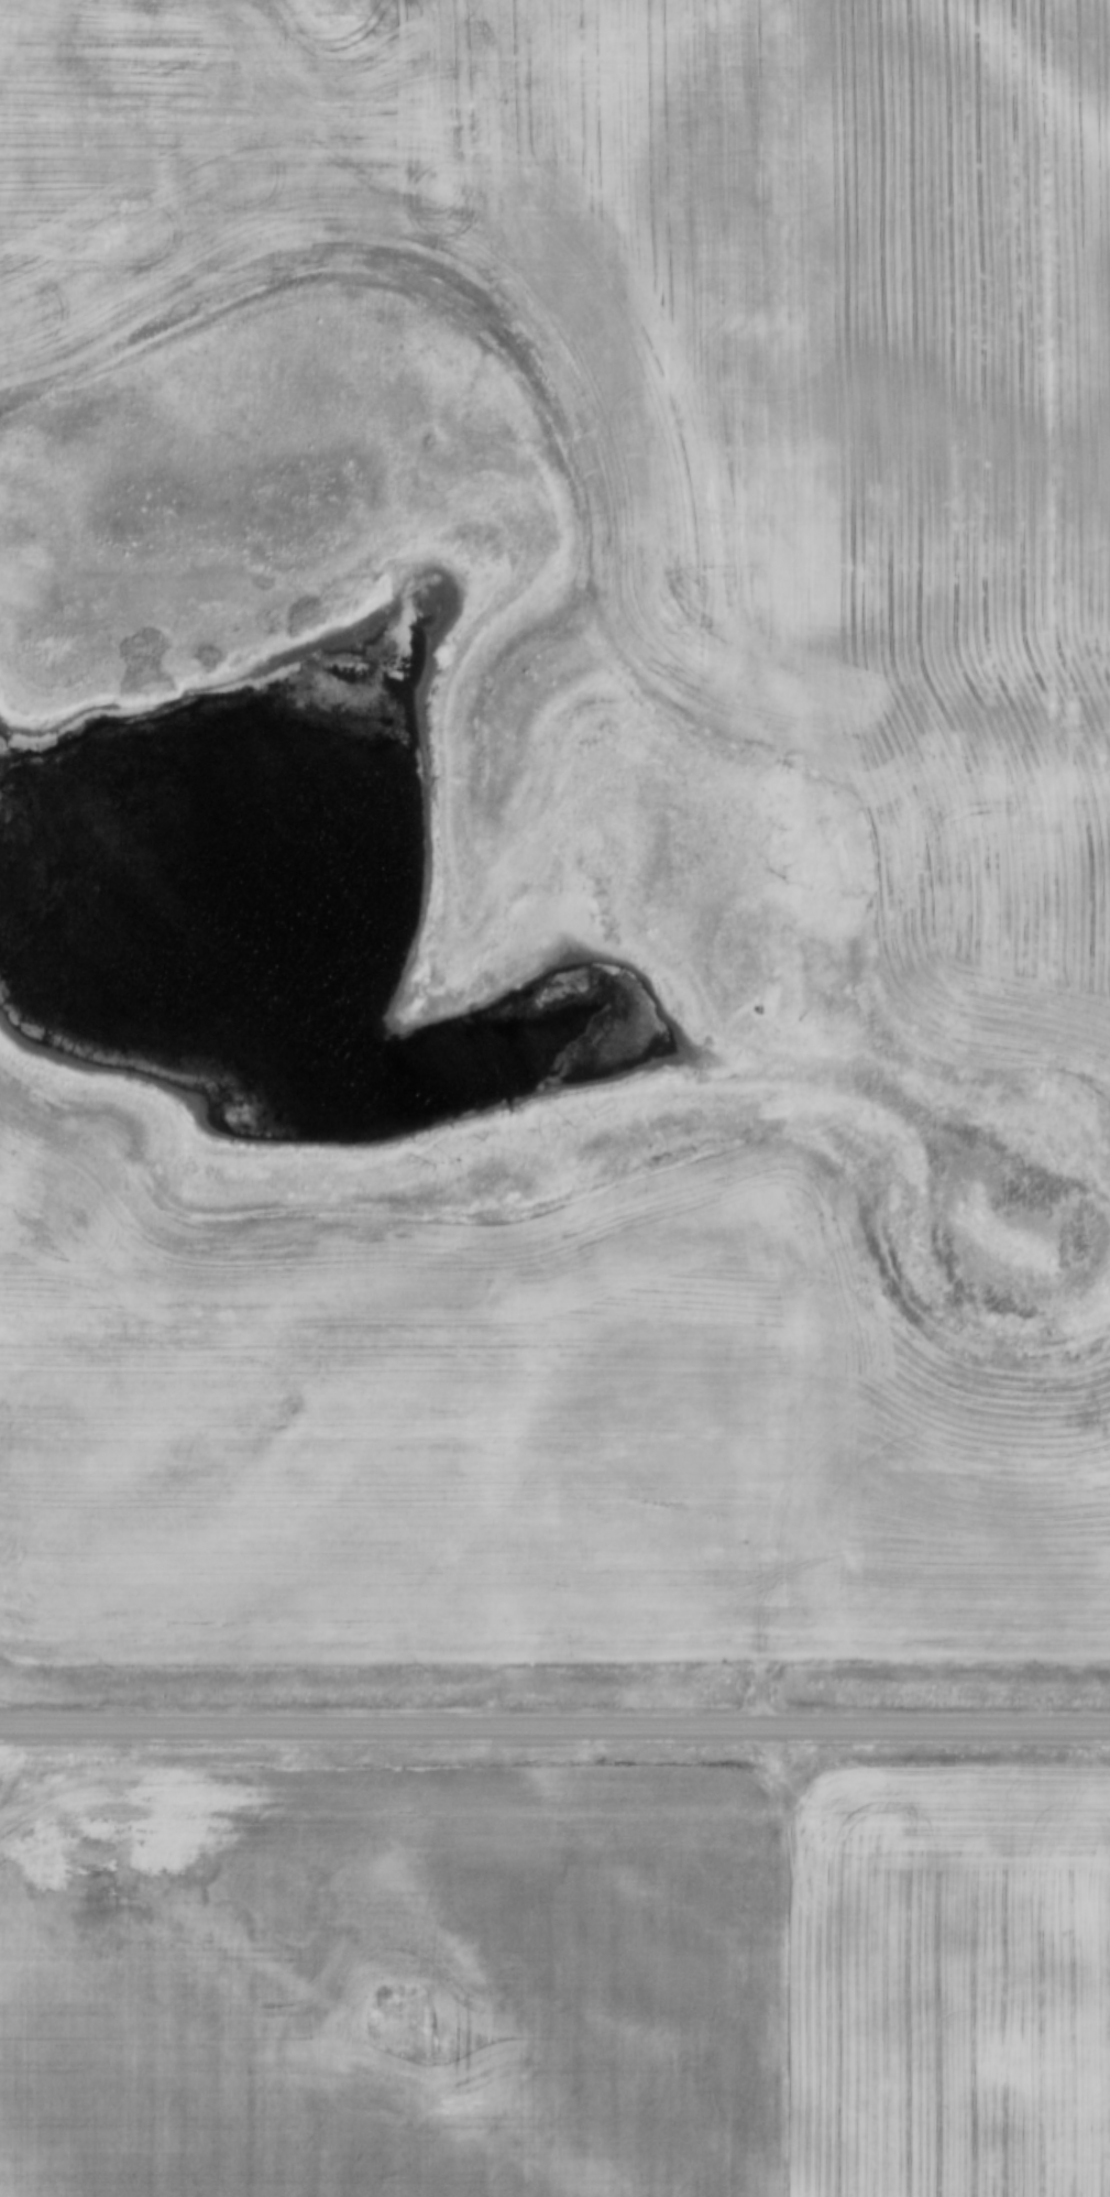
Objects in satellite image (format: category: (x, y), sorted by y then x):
road: (554, 1731)

